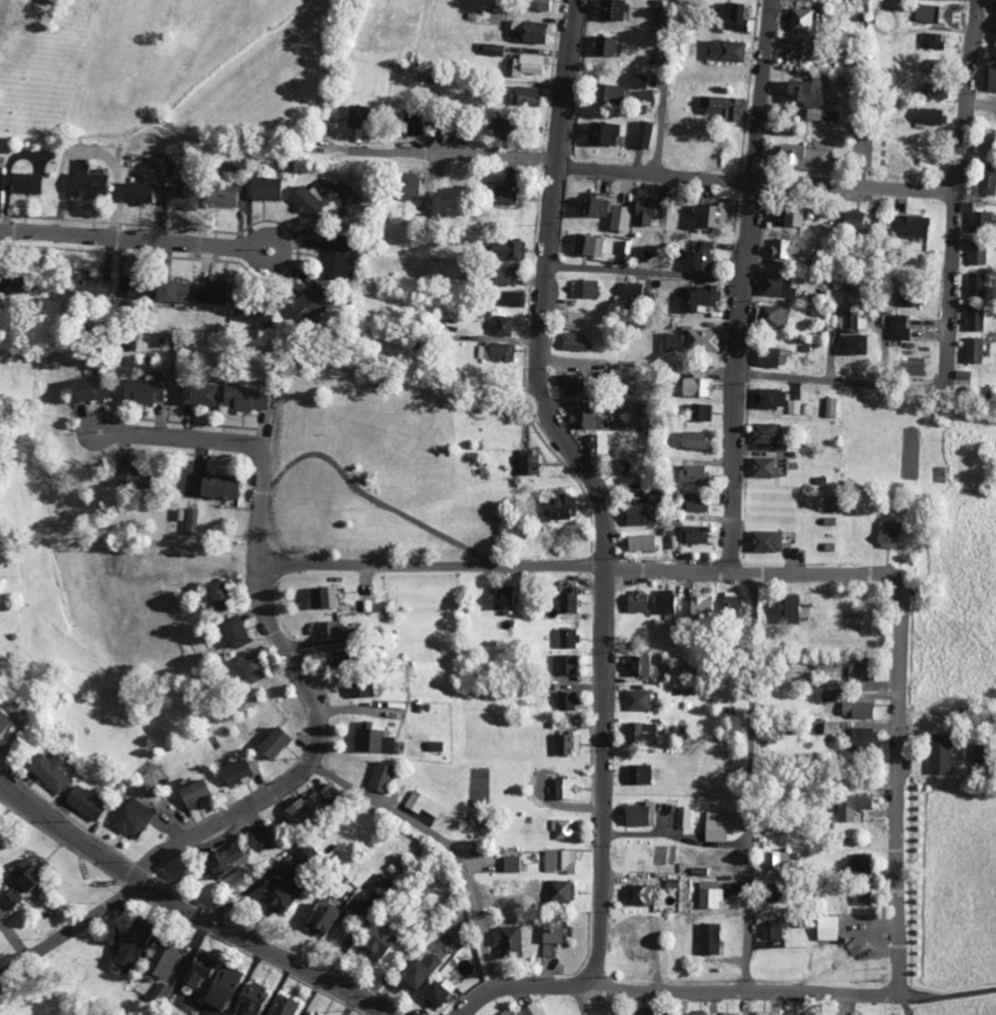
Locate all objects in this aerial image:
building: (537, 4)
building: (995, 8)
building: (609, 9)
building: (933, 13)
building: (732, 16)
building: (800, 18)
building: (529, 30)
building: (994, 39)
building: (930, 40)
building: (603, 45)
building: (489, 48)
building: (727, 50)
building: (526, 64)
building: (991, 78)
building: (637, 80)
road: (663, 86)
building: (804, 91)
building: (933, 91)
building: (609, 93)
building: (525, 95)
building: (724, 107)
building: (324, 113)
building: (816, 114)
building: (355, 116)
building: (928, 116)
building: (411, 125)
building: (496, 127)
building: (601, 133)
building: (643, 134)
building: (986, 140)
building: (801, 156)
road: (667, 174)
building: (987, 180)
building: (20, 183)
building: (87, 184)
building: (405, 186)
building: (264, 188)
road: (959, 189)
building: (135, 192)
building: (501, 194)
building: (221, 195)
building: (178, 196)
building: (307, 201)
building: (593, 207)
building: (645, 212)
building: (788, 215)
building: (709, 216)
building: (620, 218)
building: (854, 219)
building: (979, 220)
building: (913, 226)
road: (116, 240)
building: (587, 245)
building: (706, 245)
building: (505, 249)
building: (784, 249)
building: (978, 253)
building: (339, 258)
building: (700, 260)
road: (284, 264)
road: (649, 272)
building: (501, 274)
building: (14, 281)
road: (748, 285)
building: (777, 285)
building: (976, 285)
building: (88, 286)
building: (133, 289)
building: (585, 289)
building: (633, 289)
building: (172, 290)
building: (209, 293)
building: (701, 297)
building: (511, 298)
building: (309, 305)
building: (253, 313)
building: (772, 316)
building: (975, 318)
building: (574, 321)
building: (499, 325)
building: (899, 327)
building: (700, 339)
building: (667, 341)
building: (572, 342)
building: (853, 343)
building: (973, 350)
building: (498, 351)
building: (766, 357)
building: (962, 375)
road: (842, 380)
building: (570, 383)
building: (694, 386)
building: (87, 389)
building: (143, 390)
building: (198, 394)
building: (244, 397)
building: (768, 398)
building: (794, 407)
building: (830, 407)
building: (700, 412)
building: (581, 418)
road: (96, 421)
building: (764, 433)
building: (694, 440)
road: (250, 442)
building: (598, 444)
building: (529, 463)
building: (618, 467)
building: (763, 467)
building: (692, 473)
building: (129, 476)
road: (598, 485)
building: (217, 486)
road: (376, 496)
building: (694, 502)
building: (558, 508)
building: (637, 515)
building: (191, 521)
building: (694, 534)
building: (887, 534)
building: (765, 541)
building: (642, 542)
road: (579, 568)
building: (218, 595)
building: (502, 597)
building: (320, 598)
building: (568, 601)
building: (664, 601)
building: (635, 602)
building: (731, 604)
building: (699, 606)
building: (329, 629)
building: (233, 631)
building: (568, 638)
building: (337, 659)
building: (566, 664)
building: (637, 665)
building: (250, 667)
building: (857, 671)
building: (792, 676)
building: (358, 689)
building: (827, 695)
building: (637, 700)
building: (565, 701)
building: (856, 709)
building: (3, 722)
building: (831, 729)
building: (641, 733)
building: (861, 738)
building: (373, 739)
building: (272, 743)
building: (567, 743)
building: (434, 746)
building: (938, 754)
road: (311, 759)
building: (49, 772)
building: (238, 773)
building: (638, 774)
building: (381, 777)
road: (754, 781)
road: (900, 782)
building: (565, 789)
building: (328, 792)
building: (192, 794)
building: (83, 803)
building: (422, 804)
building: (852, 806)
building: (302, 809)
building: (640, 814)
building: (684, 817)
building: (132, 819)
building: (716, 826)
building: (563, 829)
building: (260, 833)
road: (446, 842)
building: (224, 861)
building: (561, 861)
building: (775, 861)
building: (512, 864)
building: (856, 864)
building: (21, 884)
building: (379, 885)
building: (561, 892)
building: (771, 892)
building: (277, 893)
building: (638, 894)
building: (710, 895)
building: (861, 898)
road: (186, 906)
building: (321, 916)
building: (638, 927)
building: (827, 928)
road: (72, 929)
building: (771, 930)
building: (551, 936)
building: (708, 939)
building: (373, 941)
building: (507, 941)
building: (129, 944)
building: (162, 959)
building: (432, 962)
building: (198, 972)
building: (412, 976)
road: (518, 986)
building: (219, 987)
road: (739, 990)
building: (436, 992)
road: (945, 996)
building: (249, 998)
road: (585, 1000)
building: (282, 1006)
building: (532, 1009)
building: (507, 1012)
building: (643, 1013)
building: (699, 1013)
building: (761, 1013)
building: (308, 1014)
building: (672, 1014)
building: (730, 1014)

